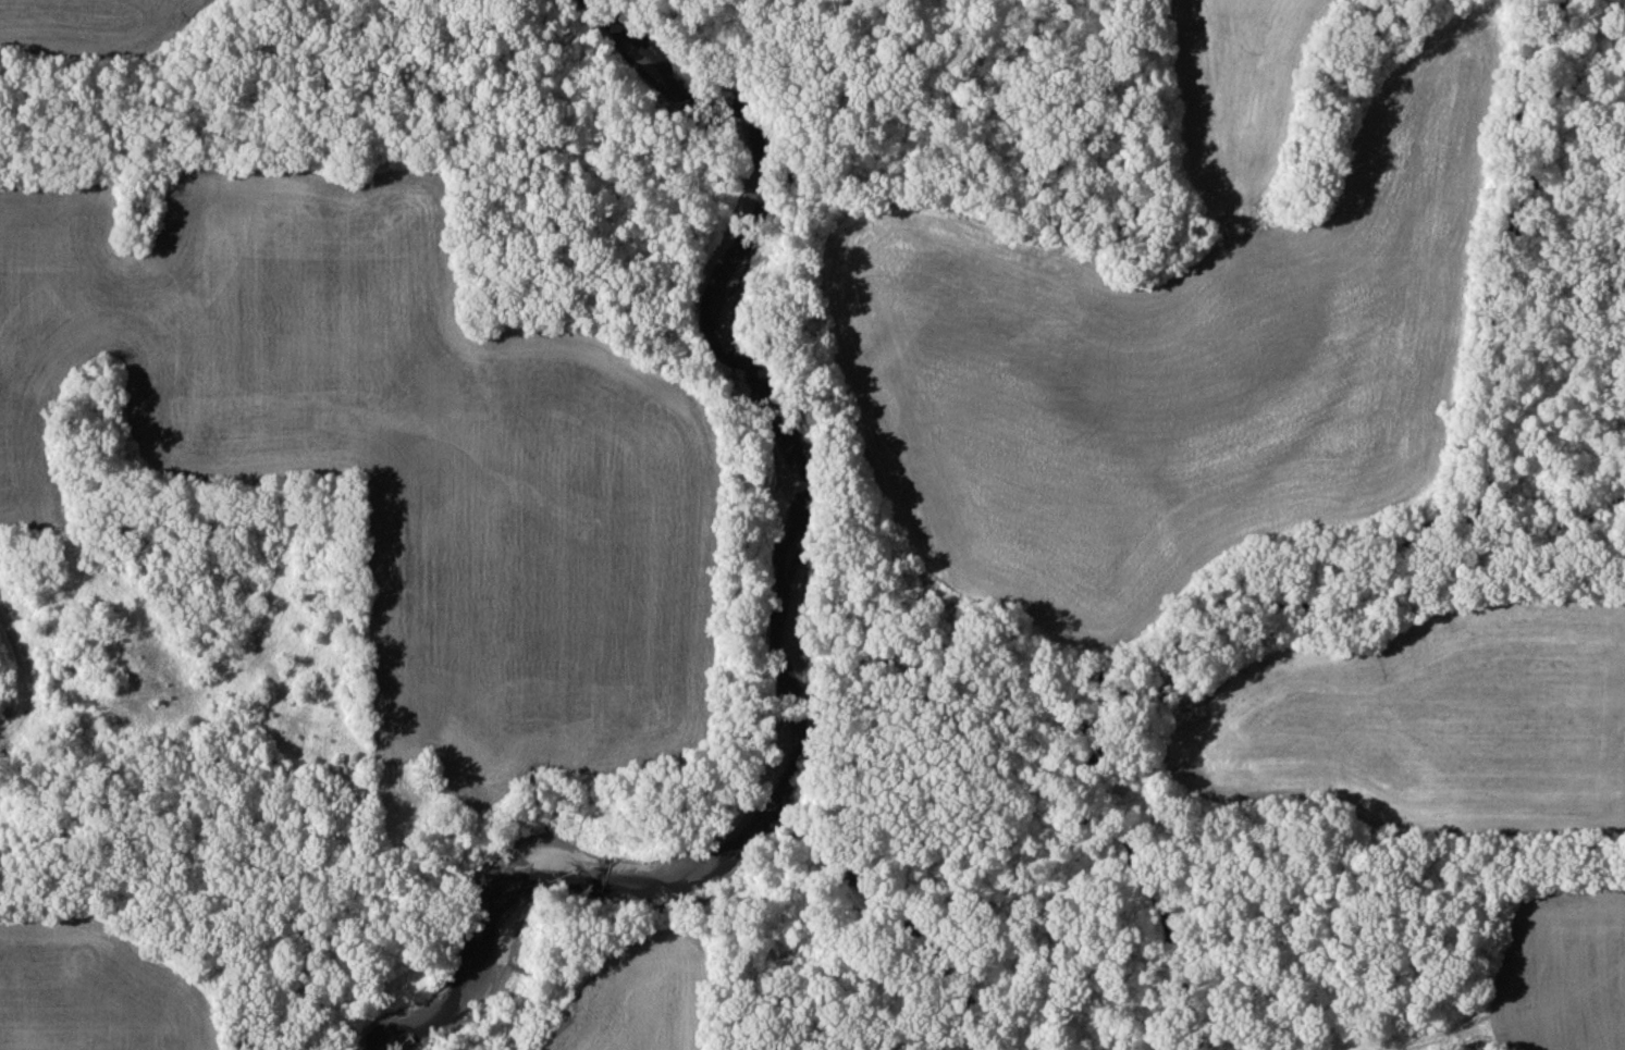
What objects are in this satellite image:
river: (778, 592)

